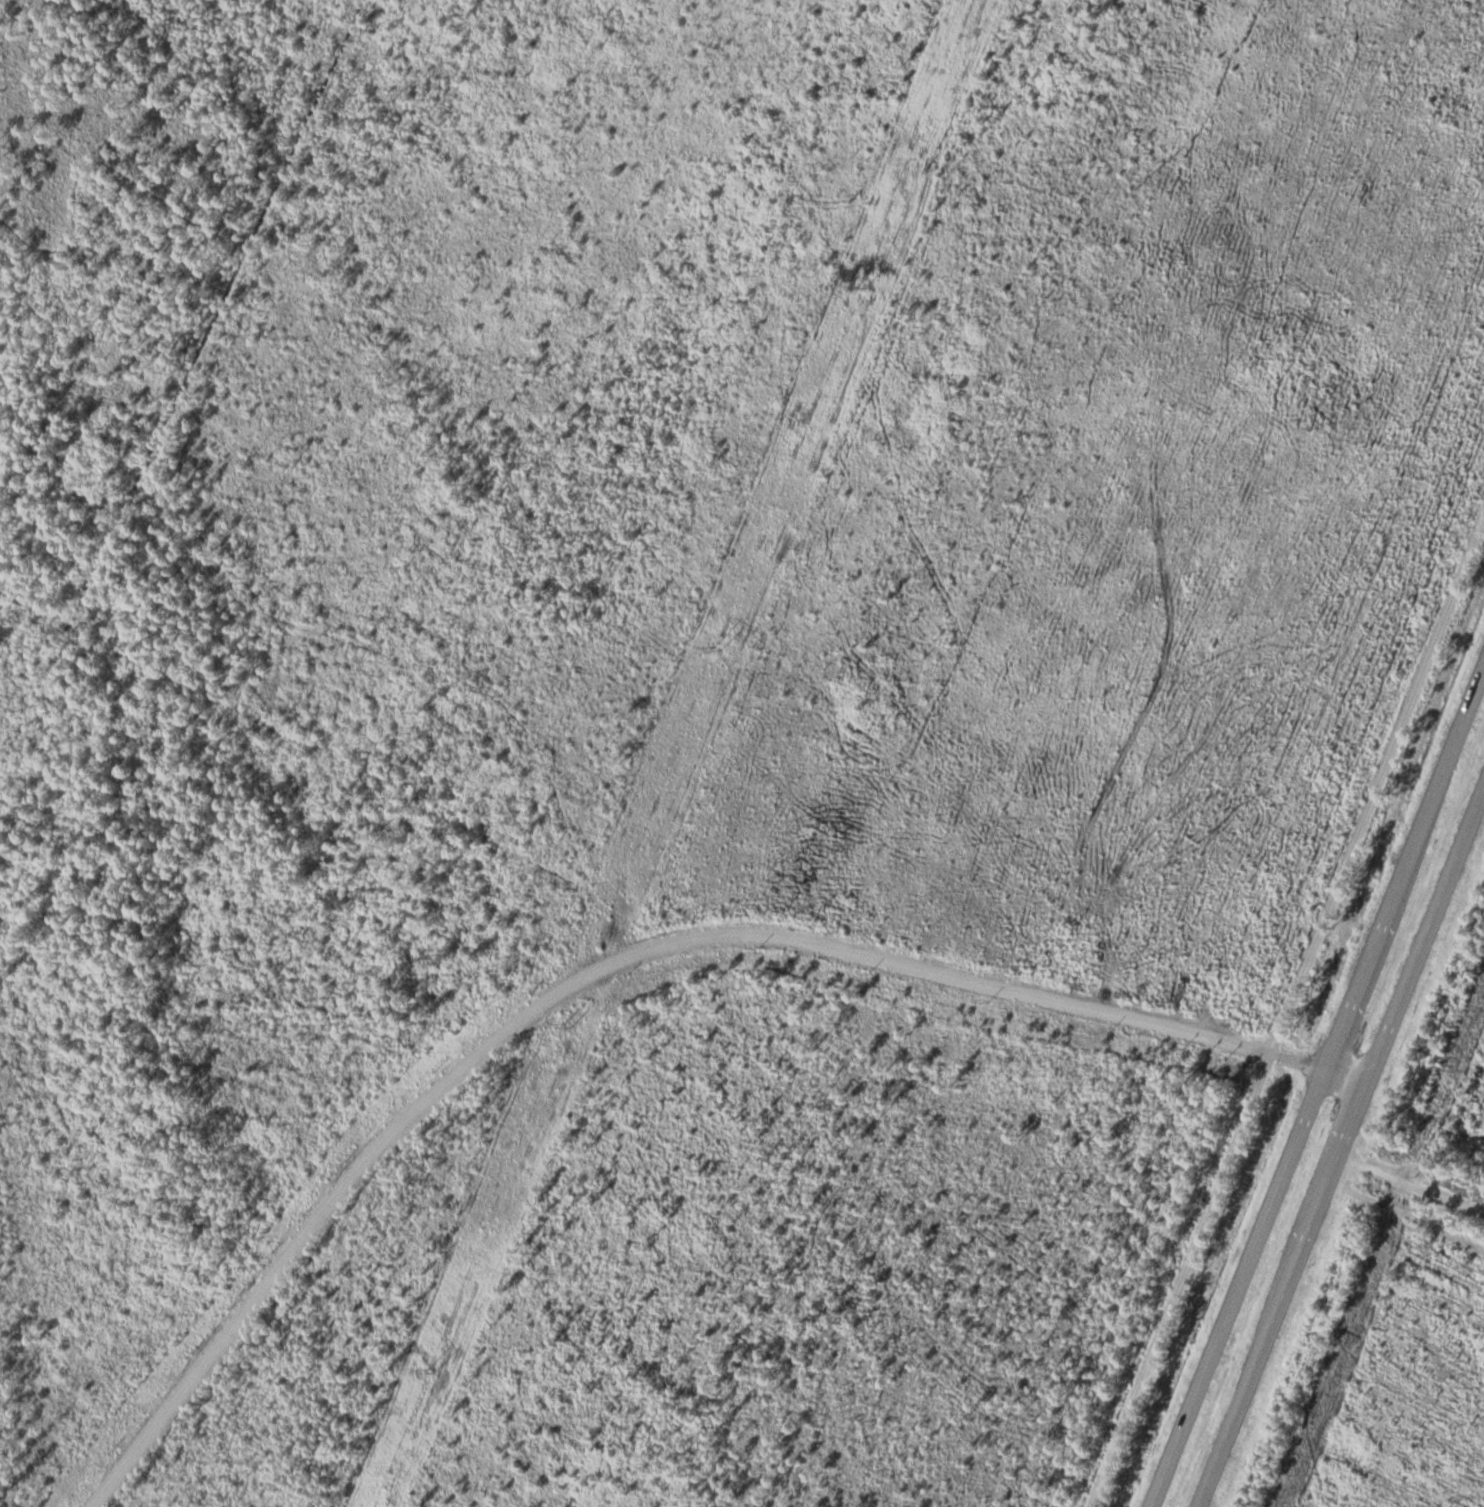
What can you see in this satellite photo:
road: (583, 976)
road: (1287, 1008)
road: (1287, 1008)
road: (1328, 1073)
road: (1318, 1092)
road: (1341, 1149)

